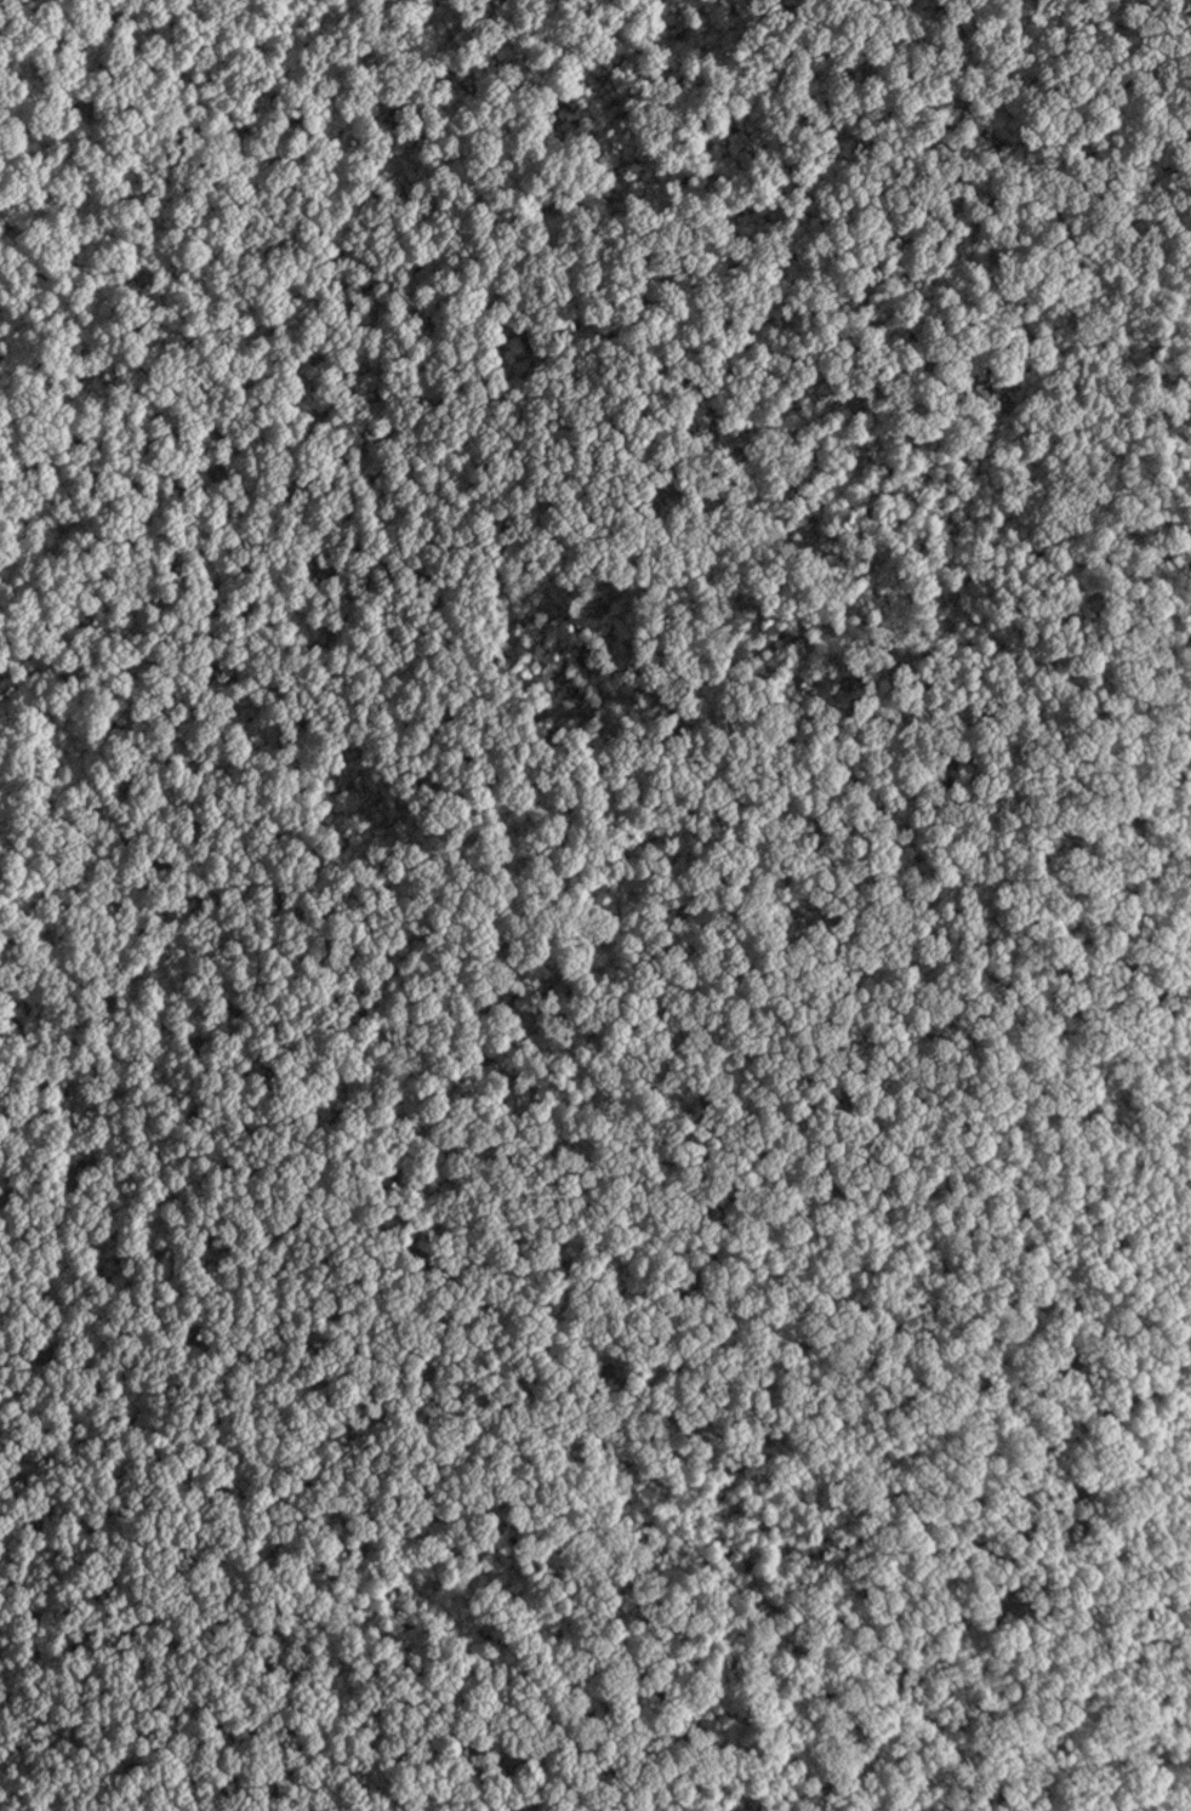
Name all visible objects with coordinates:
road: (1186, 1798)

